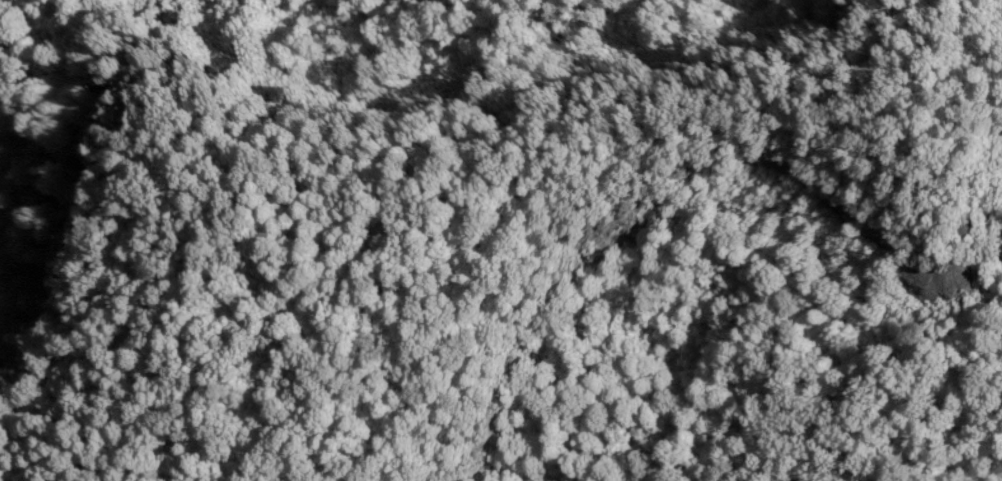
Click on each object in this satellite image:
road: (917, 137)
road: (520, 190)

